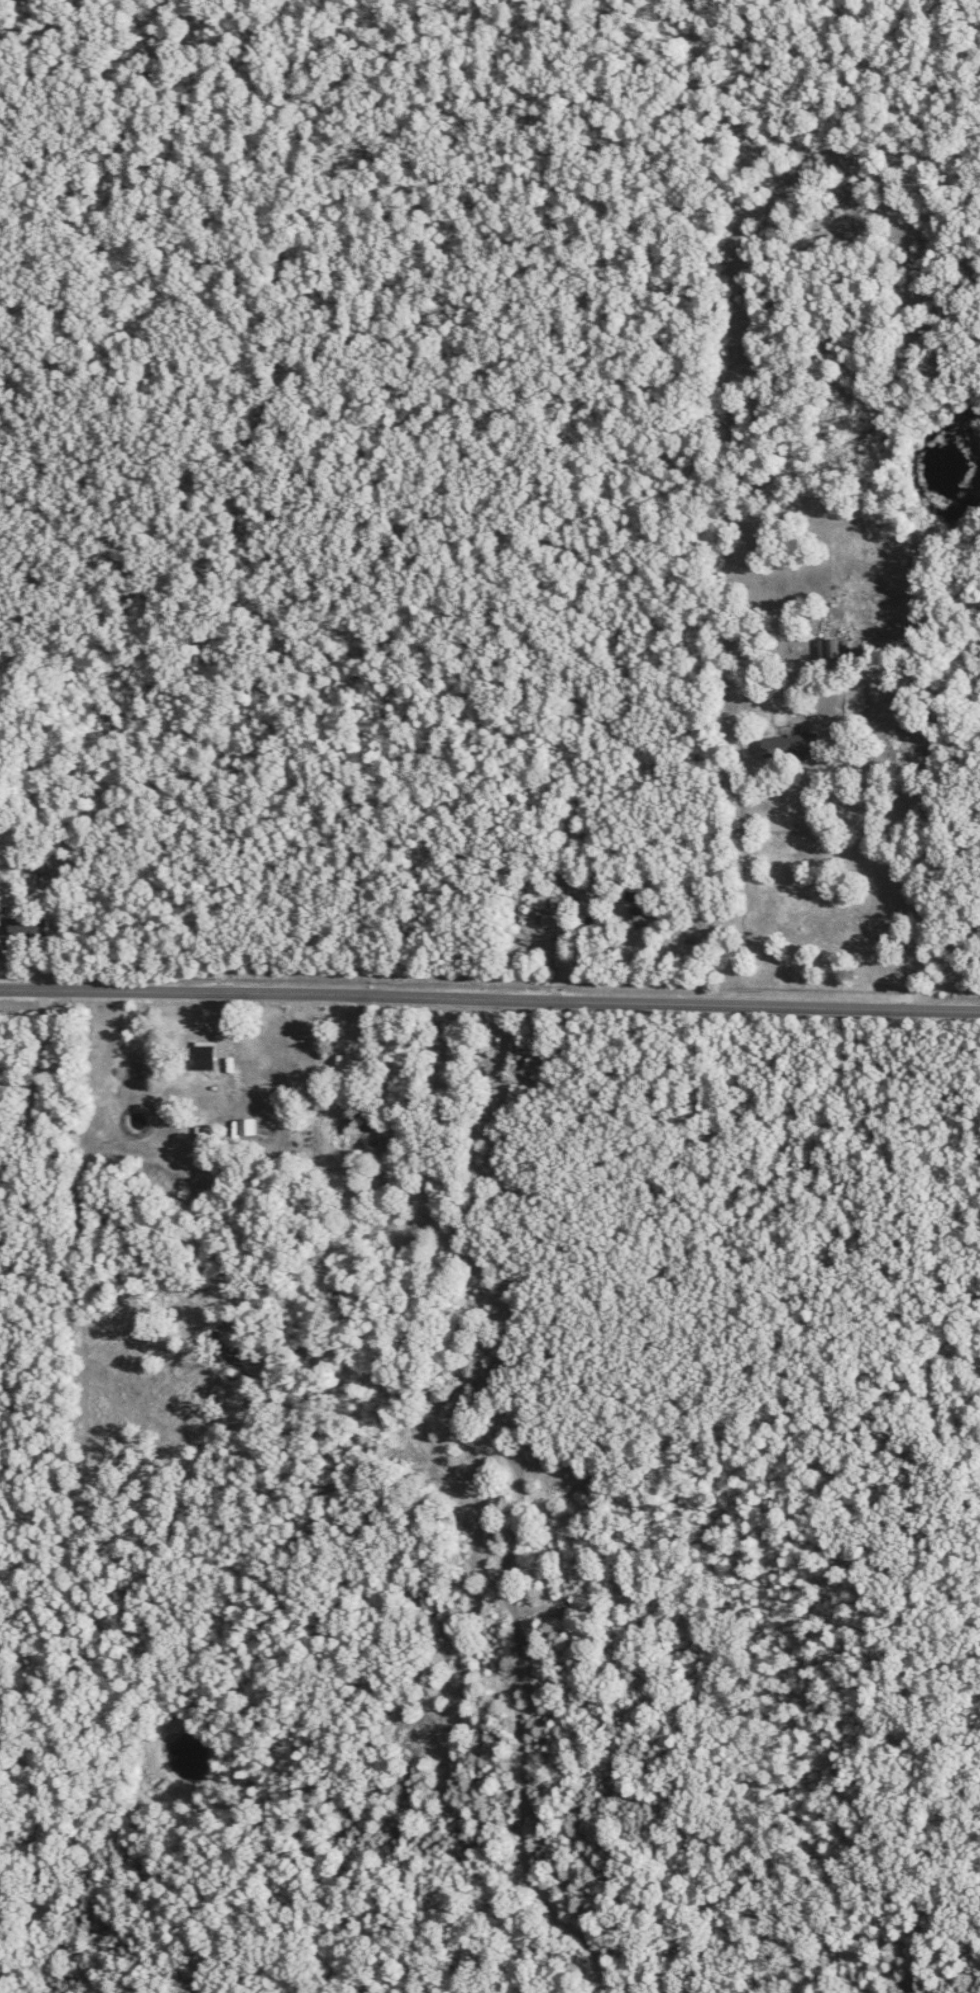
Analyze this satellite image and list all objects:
building: (831, 649)
building: (787, 746)
road: (864, 827)
building: (536, 897)
building: (641, 914)
building: (25, 926)
road: (490, 994)
road: (226, 1042)
building: (206, 1059)
building: (346, 1065)
road: (30, 1086)
building: (247, 1126)
building: (350, 1128)

